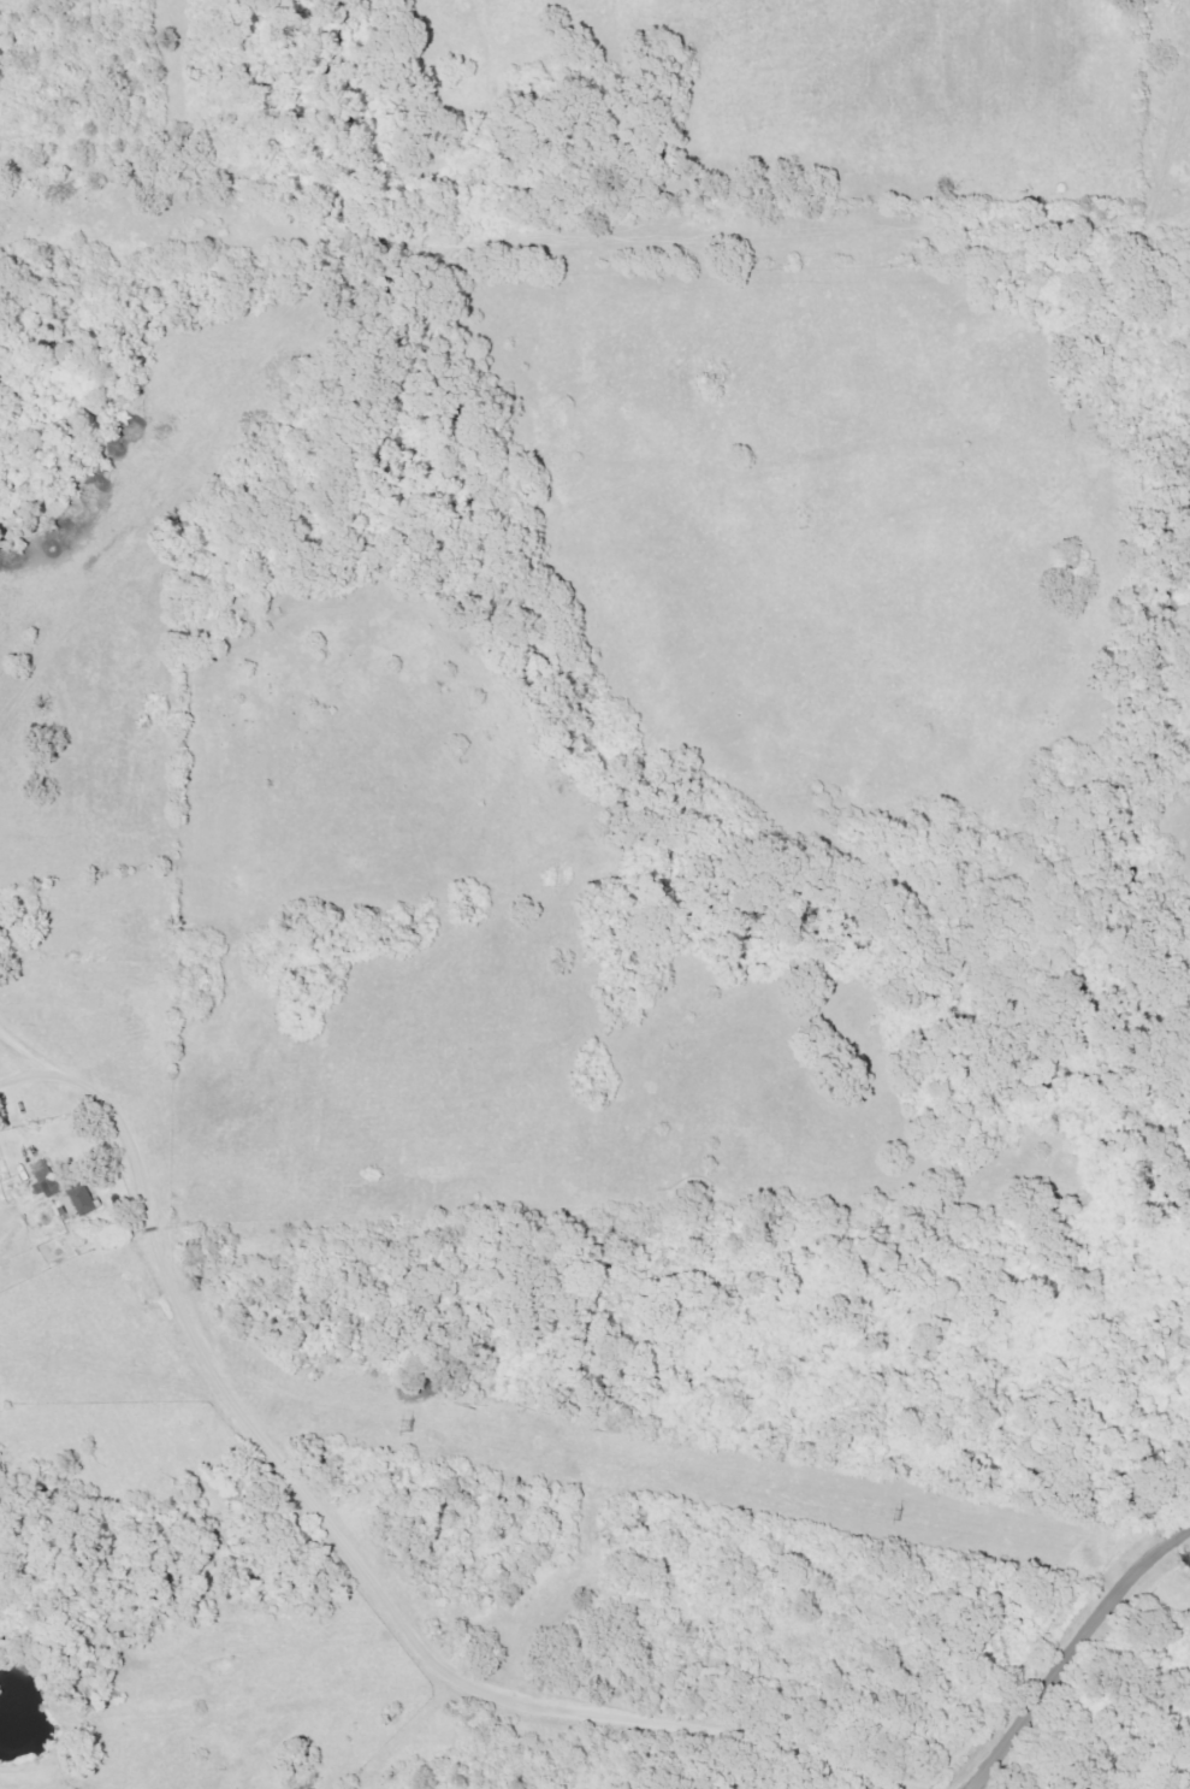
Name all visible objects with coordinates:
building: (7, 920)
building: (47, 1179)
building: (85, 1200)
power tower: (392, 1428)
power tower: (886, 1510)
road: (359, 1554)
road: (1081, 1673)

